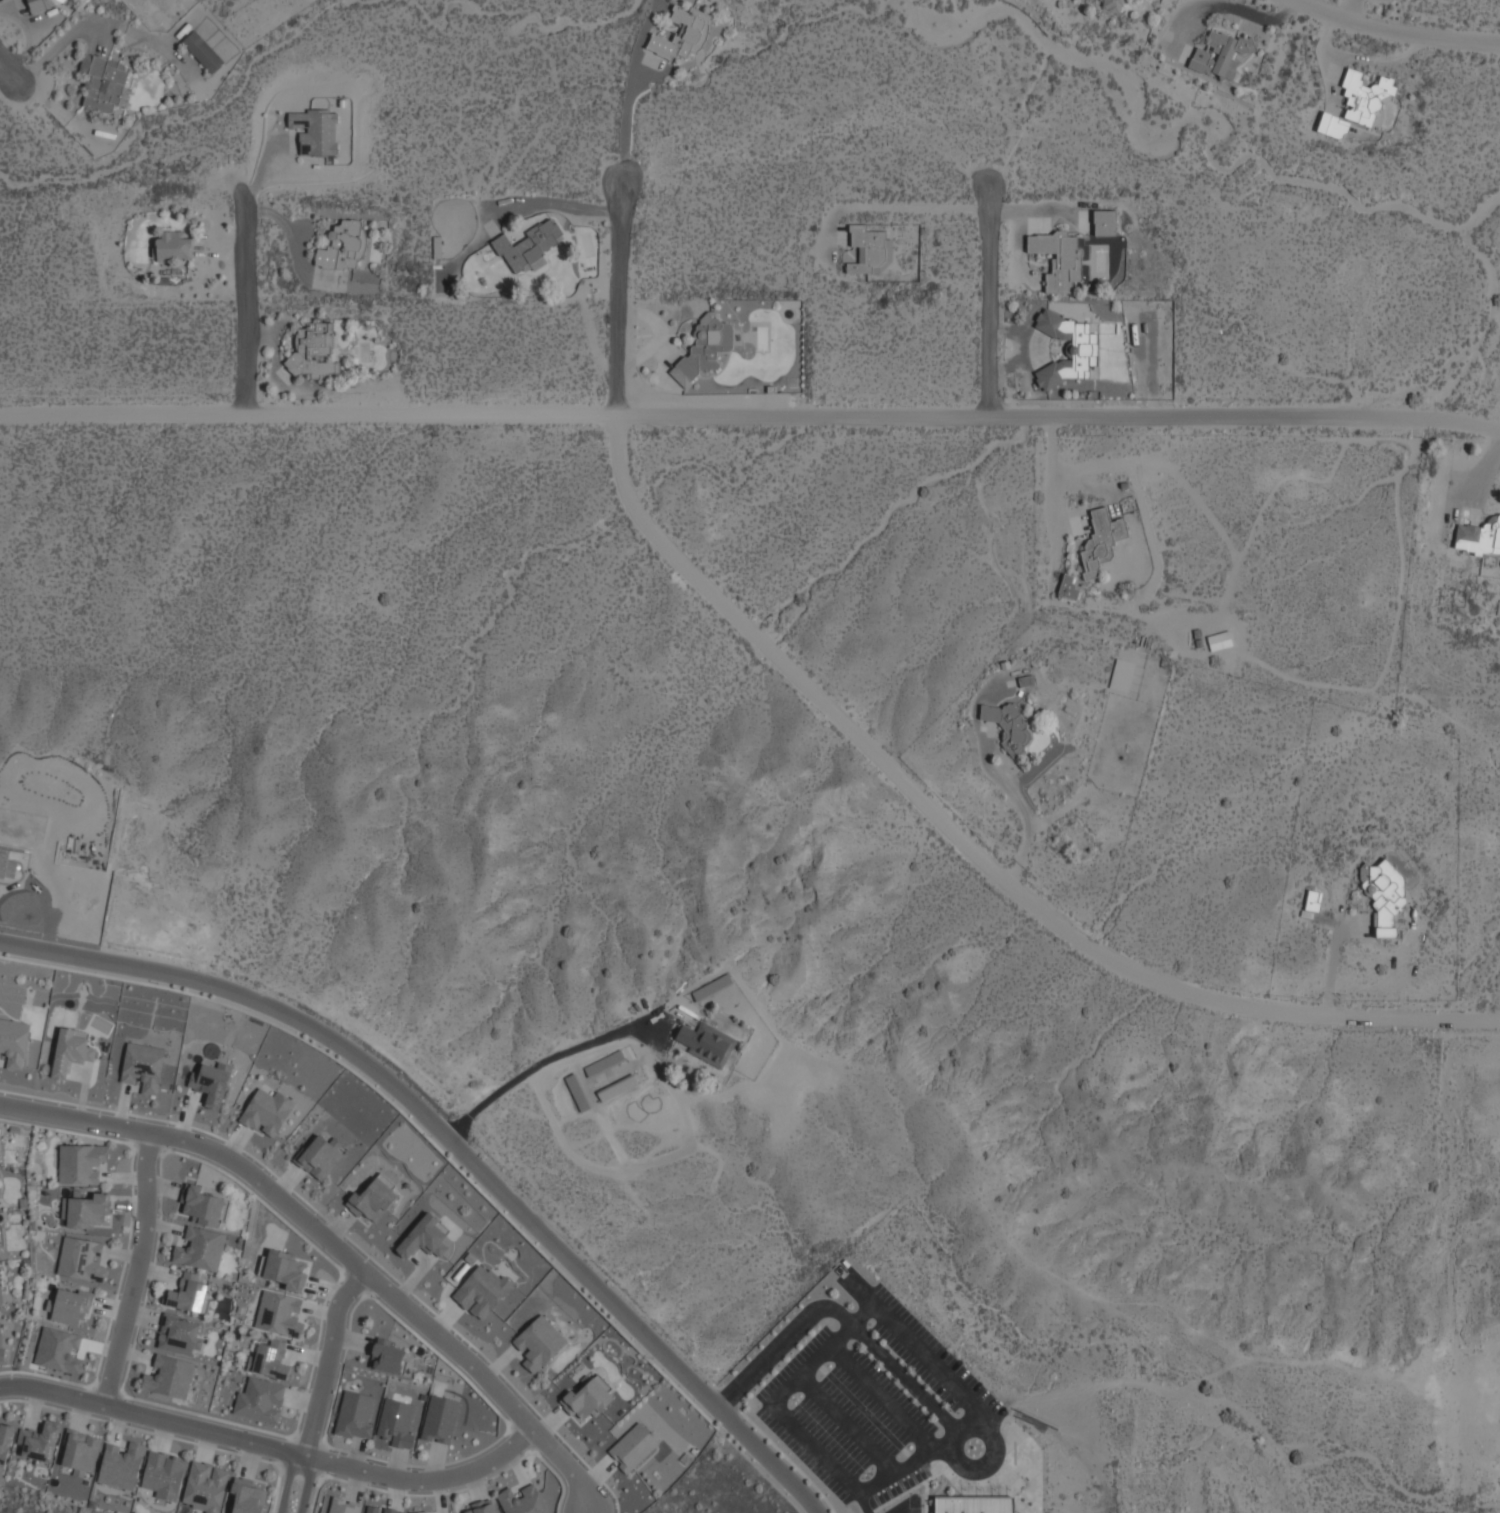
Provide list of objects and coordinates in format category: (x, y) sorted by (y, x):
building: (40, 4)
building: (1113, 5)
building: (695, 29)
road: (1396, 31)
building: (201, 50)
building: (1220, 54)
road: (9, 71)
building: (102, 81)
building: (1356, 104)
road: (624, 120)
building: (314, 132)
building: (1103, 222)
building: (171, 245)
building: (527, 246)
building: (866, 248)
building: (344, 249)
building: (1059, 258)
road: (246, 297)
road: (621, 299)
road: (992, 300)
building: (1083, 345)
building: (703, 347)
building: (312, 350)
road: (750, 416)
building: (1478, 536)
building: (1100, 540)
building: (1066, 586)
building: (1218, 640)
building: (1006, 724)
road: (977, 847)
building: (6, 865)
building: (1382, 896)
building: (1313, 900)
building: (13, 1043)
building: (706, 1043)
building: (70, 1053)
road: (545, 1062)
building: (141, 1066)
building: (210, 1083)
building: (266, 1111)
road: (457, 1147)
building: (319, 1155)
building: (80, 1163)
building: (372, 1199)
building: (199, 1206)
building: (83, 1210)
building: (422, 1238)
road: (333, 1244)
building: (199, 1250)
building: (80, 1258)
road: (136, 1269)
building: (284, 1270)
building: (480, 1291)
building: (186, 1294)
building: (0, 1299)
building: (70, 1307)
building: (278, 1314)
road: (838, 1314)
road: (860, 1315)
building: (177, 1336)
building: (1, 1338)
building: (537, 1343)
building: (58, 1350)
road: (918, 1351)
road: (326, 1359)
building: (384, 1359)
building: (269, 1360)
building: (168, 1377)
road: (883, 1398)
building: (585, 1400)
building: (258, 1401)
parking lot: (869, 1404)
building: (353, 1415)
building: (438, 1419)
building: (394, 1423)
road: (846, 1425)
building: (37, 1443)
building: (4, 1445)
road: (811, 1445)
road: (270, 1447)
building: (631, 1447)
building: (80, 1452)
road: (951, 1458)
building: (120, 1466)
road: (296, 1470)
building: (162, 1476)
road: (287, 1482)
road: (307, 1484)
building: (204, 1487)
building: (246, 1499)
building: (520, 1501)
road: (864, 1503)
building: (973, 1504)
building: (341, 1506)
building: (371, 1509)
building: (481, 1509)
road: (901, 1509)
building: (389, 1511)
building: (420, 1512)

